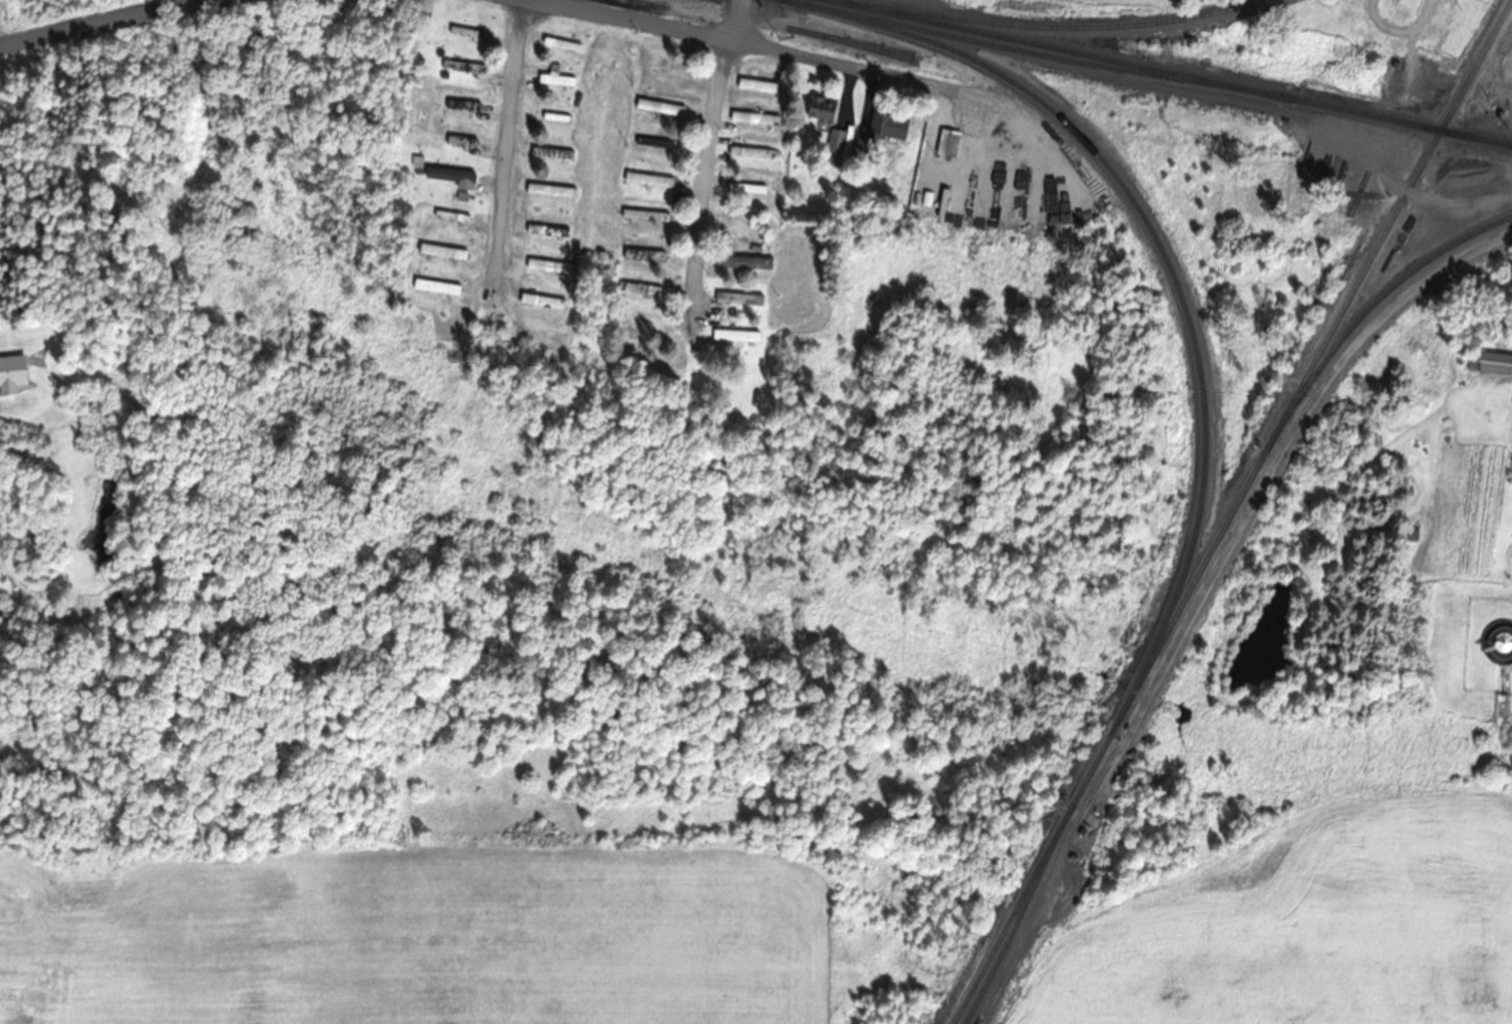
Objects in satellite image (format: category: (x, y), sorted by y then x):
building: (1321, 19)
road: (100, 23)
railway: (1052, 27)
building: (466, 32)
railway: (942, 33)
building: (561, 43)
road: (759, 48)
building: (464, 66)
railway: (1171, 73)
building: (556, 79)
railway: (1195, 81)
building: (756, 85)
building: (462, 105)
building: (660, 106)
building: (820, 108)
building: (556, 117)
building: (755, 118)
building: (887, 126)
building: (461, 141)
building: (653, 142)
building: (857, 143)
building: (947, 143)
road: (510, 147)
building: (834, 147)
building: (553, 152)
building: (749, 152)
road: (704, 169)
building: (451, 176)
building: (648, 179)
building: (746, 188)
building: (551, 190)
park: (211, 198)
building: (645, 215)
building: (451, 216)
building: (548, 230)
building: (442, 251)
building: (644, 255)
railway: (1164, 256)
building: (744, 262)
building: (550, 266)
building: (436, 287)
building: (639, 288)
building: (738, 299)
building: (542, 301)
railway: (1368, 309)
building: (635, 318)
building: (735, 336)
building: (1494, 363)
building: (11, 373)
railway: (1230, 511)
building: (1410, 535)
building: (30, 544)
railway: (1018, 914)

